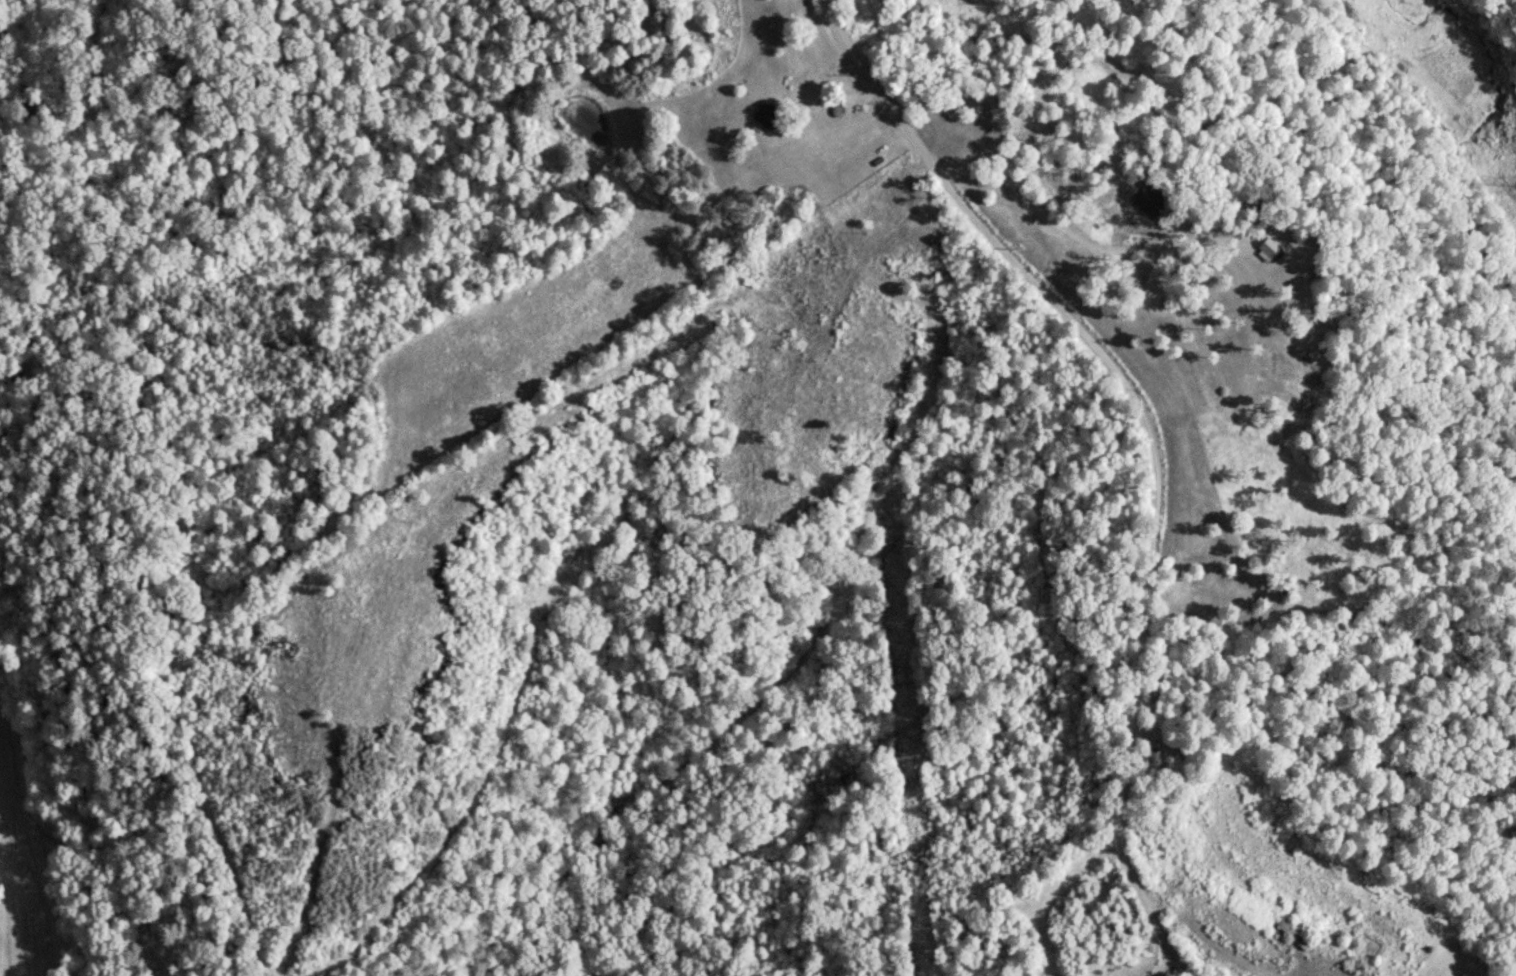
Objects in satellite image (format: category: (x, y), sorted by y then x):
building: (770, 116)
building: (1269, 249)
road: (1148, 445)
road: (1166, 968)

